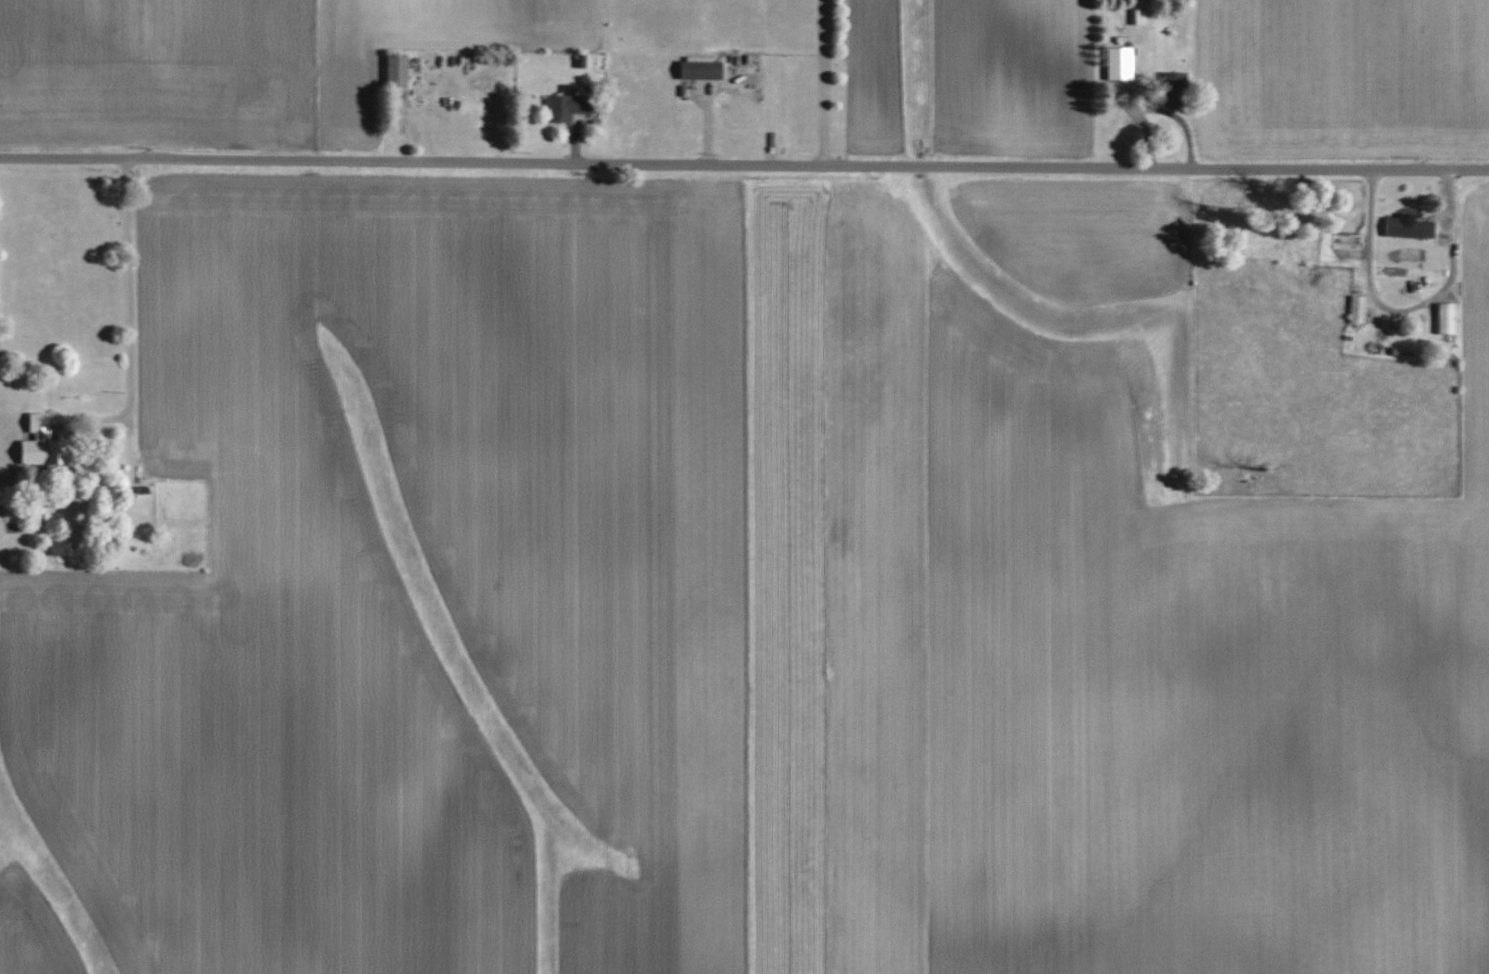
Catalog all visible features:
building: (1122, 64)
building: (703, 70)
building: (398, 71)
road: (830, 82)
building: (1176, 90)
building: (570, 106)
road: (744, 165)
building: (1410, 226)
building: (1347, 246)
building: (1358, 309)
road: (1405, 310)
building: (1448, 318)
road: (126, 387)
building: (47, 444)
building: (60, 547)

